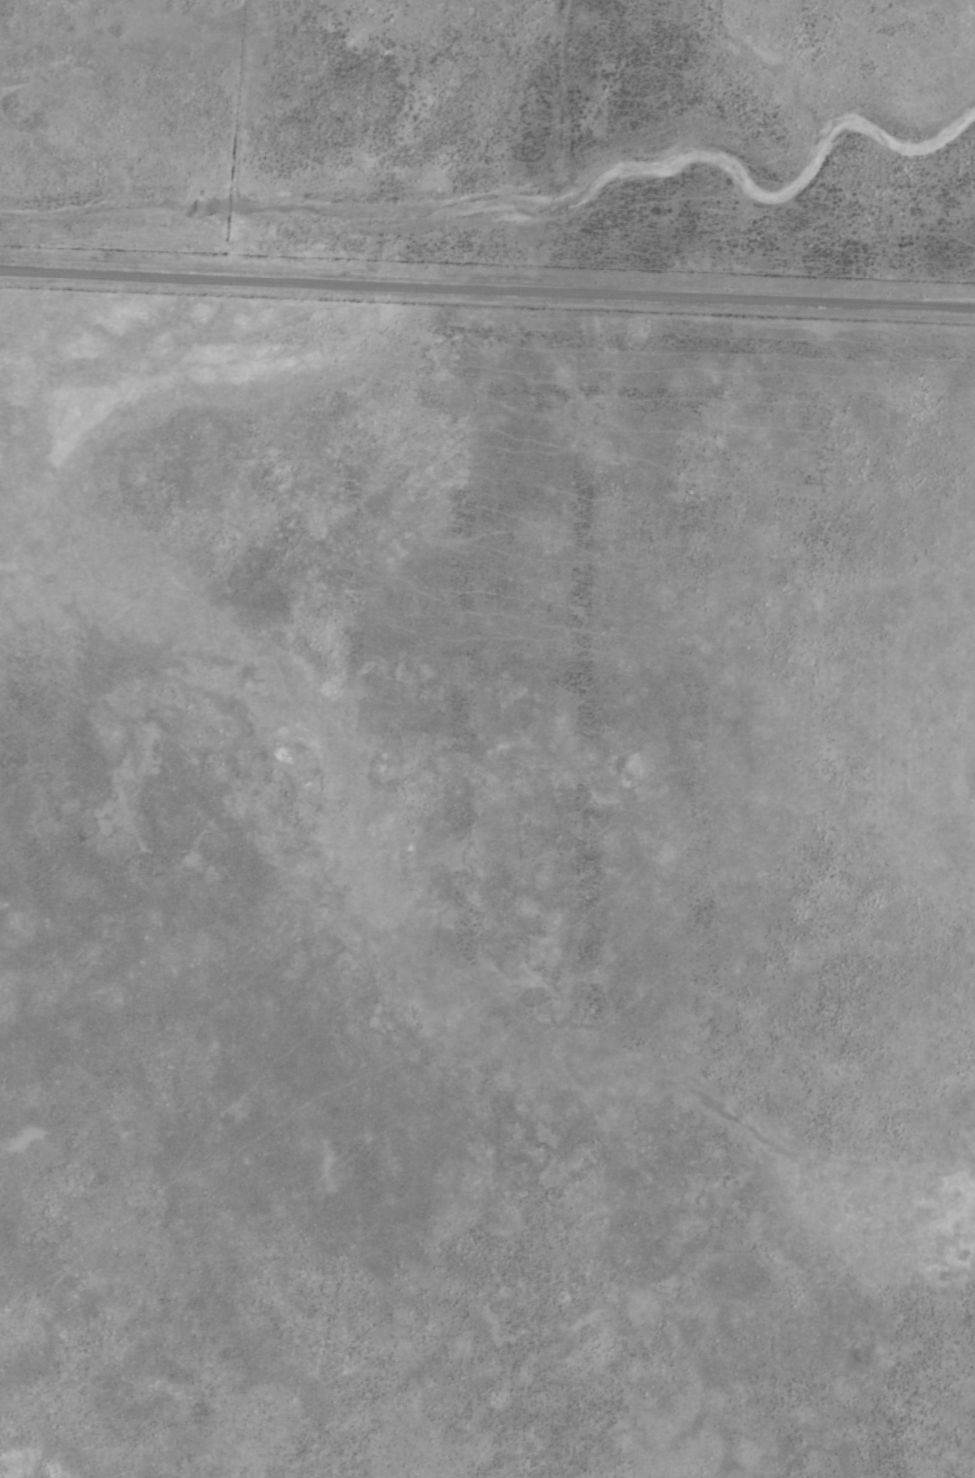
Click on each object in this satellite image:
road: (487, 293)
crop: (487, 739)

